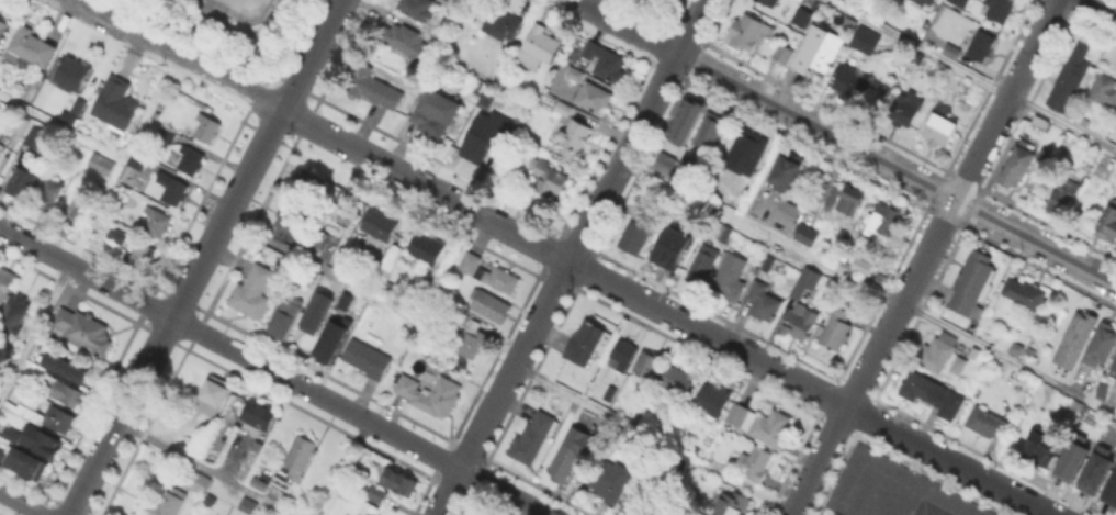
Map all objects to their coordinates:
building: (662, 0)
building: (925, 1)
building: (770, 2)
park: (243, 7)
building: (456, 8)
building: (989, 8)
building: (418, 9)
road: (1098, 9)
building: (803, 16)
park: (239, 22)
building: (451, 22)
building: (849, 23)
building: (501, 24)
building: (3, 27)
building: (749, 32)
building: (865, 40)
building: (413, 42)
building: (982, 45)
building: (30, 47)
building: (539, 47)
building: (819, 49)
building: (784, 52)
building: (952, 52)
road: (182, 53)
building: (607, 60)
building: (575, 72)
building: (72, 74)
road: (973, 74)
building: (1070, 78)
building: (850, 82)
building: (374, 88)
building: (1104, 89)
building: (595, 97)
building: (116, 103)
building: (79, 107)
building: (564, 108)
building: (906, 108)
building: (437, 113)
building: (681, 120)
building: (1042, 122)
building: (22, 125)
road: (60, 127)
building: (208, 127)
building: (942, 127)
building: (711, 128)
road: (326, 132)
building: (166, 134)
building: (576, 134)
building: (36, 136)
road: (846, 141)
building: (477, 144)
building: (2, 149)
building: (743, 150)
road: (123, 157)
building: (138, 160)
building: (192, 160)
building: (661, 160)
building: (101, 163)
building: (1018, 164)
building: (787, 170)
building: (689, 173)
building: (549, 177)
building: (23, 182)
building: (307, 182)
road: (425, 182)
building: (173, 189)
building: (48, 194)
building: (1066, 194)
building: (343, 195)
building: (850, 200)
building: (79, 210)
building: (788, 213)
building: (290, 219)
building: (157, 221)
building: (884, 222)
building: (381, 223)
building: (1108, 224)
building: (639, 229)
building: (725, 233)
building: (117, 235)
road: (523, 235)
building: (807, 236)
building: (323, 237)
road: (34, 245)
building: (674, 246)
building: (427, 248)
road: (203, 256)
building: (140, 257)
road: (570, 257)
road: (924, 257)
building: (703, 264)
road: (448, 267)
building: (861, 267)
road: (320, 271)
building: (491, 273)
building: (731, 276)
building: (807, 281)
building: (5, 282)
building: (973, 282)
road: (869, 286)
building: (253, 292)
building: (1025, 294)
building: (764, 301)
building: (491, 304)
building: (317, 313)
building: (13, 316)
building: (284, 318)
building: (799, 322)
road: (34, 326)
building: (837, 326)
building: (84, 329)
building: (471, 335)
building: (1075, 339)
building: (586, 343)
building: (1102, 345)
building: (329, 346)
building: (1016, 348)
building: (938, 351)
building: (976, 352)
building: (624, 354)
building: (367, 359)
road: (5, 363)
building: (649, 365)
building: (959, 365)
building: (68, 368)
building: (1114, 371)
building: (678, 379)
road: (810, 388)
road: (306, 389)
building: (925, 389)
building: (1103, 389)
building: (67, 393)
building: (610, 394)
building: (208, 395)
building: (432, 395)
building: (713, 399)
building: (259, 416)
building: (48, 417)
building: (760, 423)
building: (988, 423)
building: (10, 434)
building: (532, 437)
road: (651, 439)
building: (41, 441)
building: (1042, 446)
building: (2, 455)
building: (301, 455)
building: (570, 458)
building: (1069, 459)
building: (755, 462)
building: (22, 463)
road: (205, 468)
building: (1094, 470)
building: (611, 481)
building: (200, 482)
building: (401, 482)
building: (1109, 489)
road: (877, 492)
building: (376, 493)
building: (636, 494)
road: (20, 504)
building: (170, 504)
building: (732, 504)
building: (249, 505)
park: (927, 507)
building: (477, 514)
building: (482, 514)
building: (830, 514)

